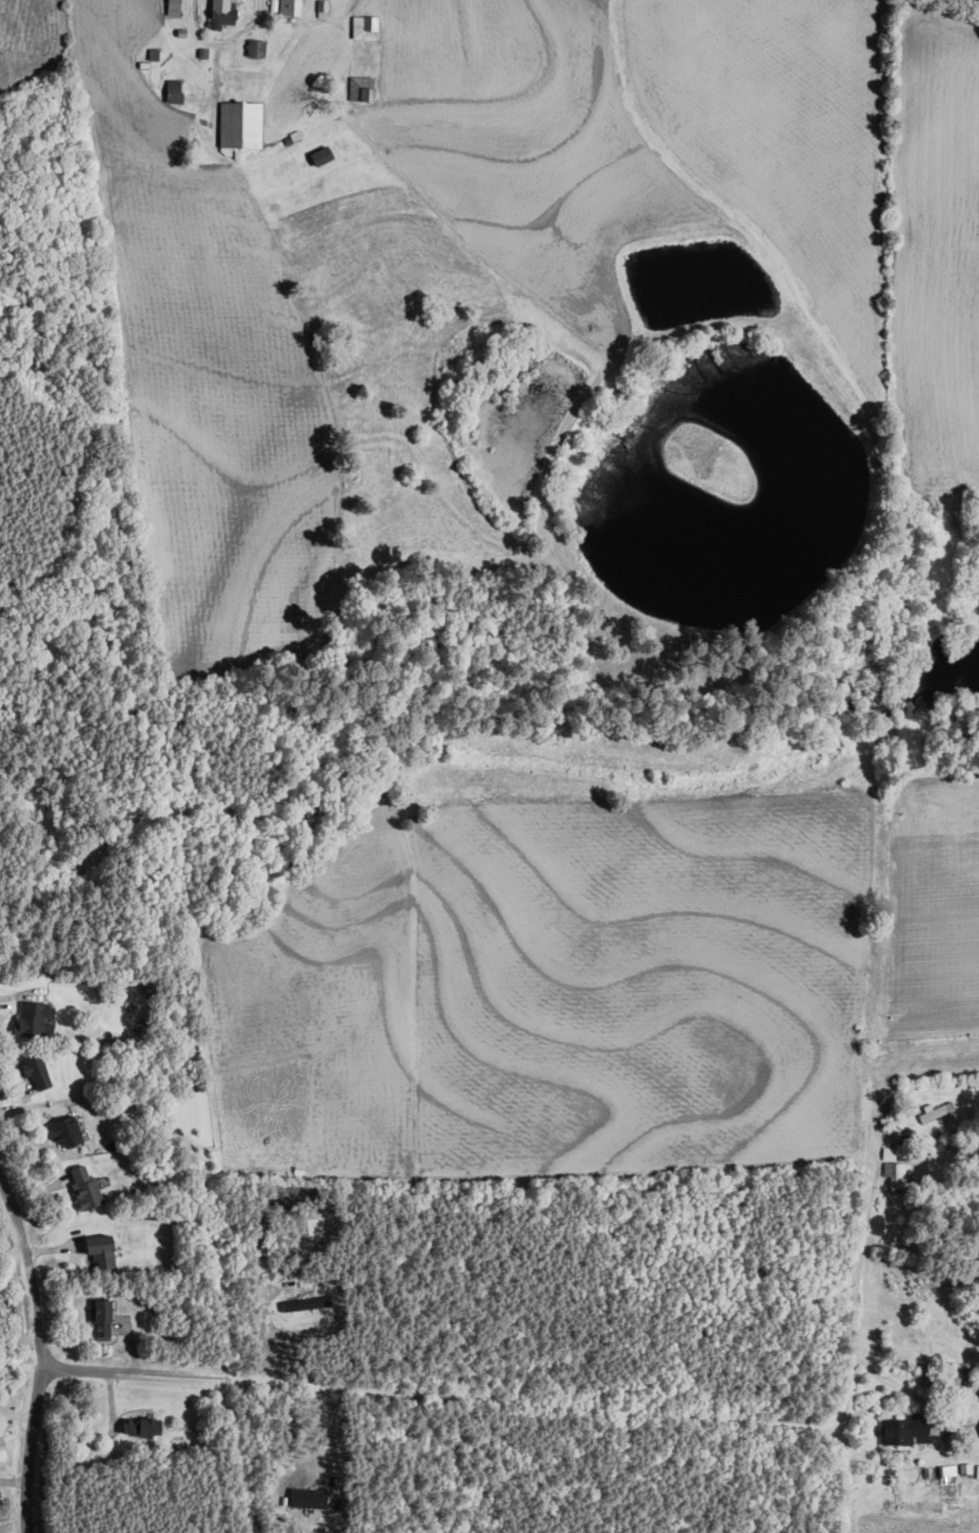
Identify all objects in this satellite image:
building: (289, 6)
building: (172, 7)
building: (322, 7)
building: (222, 12)
building: (364, 26)
road: (222, 44)
building: (256, 47)
building: (361, 88)
building: (173, 89)
building: (239, 124)
building: (321, 155)
building: (34, 1017)
building: (36, 1070)
building: (936, 1110)
building: (67, 1131)
building: (889, 1153)
building: (898, 1176)
building: (85, 1188)
building: (102, 1250)
building: (306, 1303)
road: (857, 1316)
building: (101, 1318)
road: (262, 1318)
road: (41, 1348)
road: (444, 1395)
building: (141, 1426)
building: (940, 1427)
building: (905, 1430)
road: (333, 1442)
building: (965, 1467)
building: (947, 1469)
building: (977, 1470)
building: (308, 1497)

